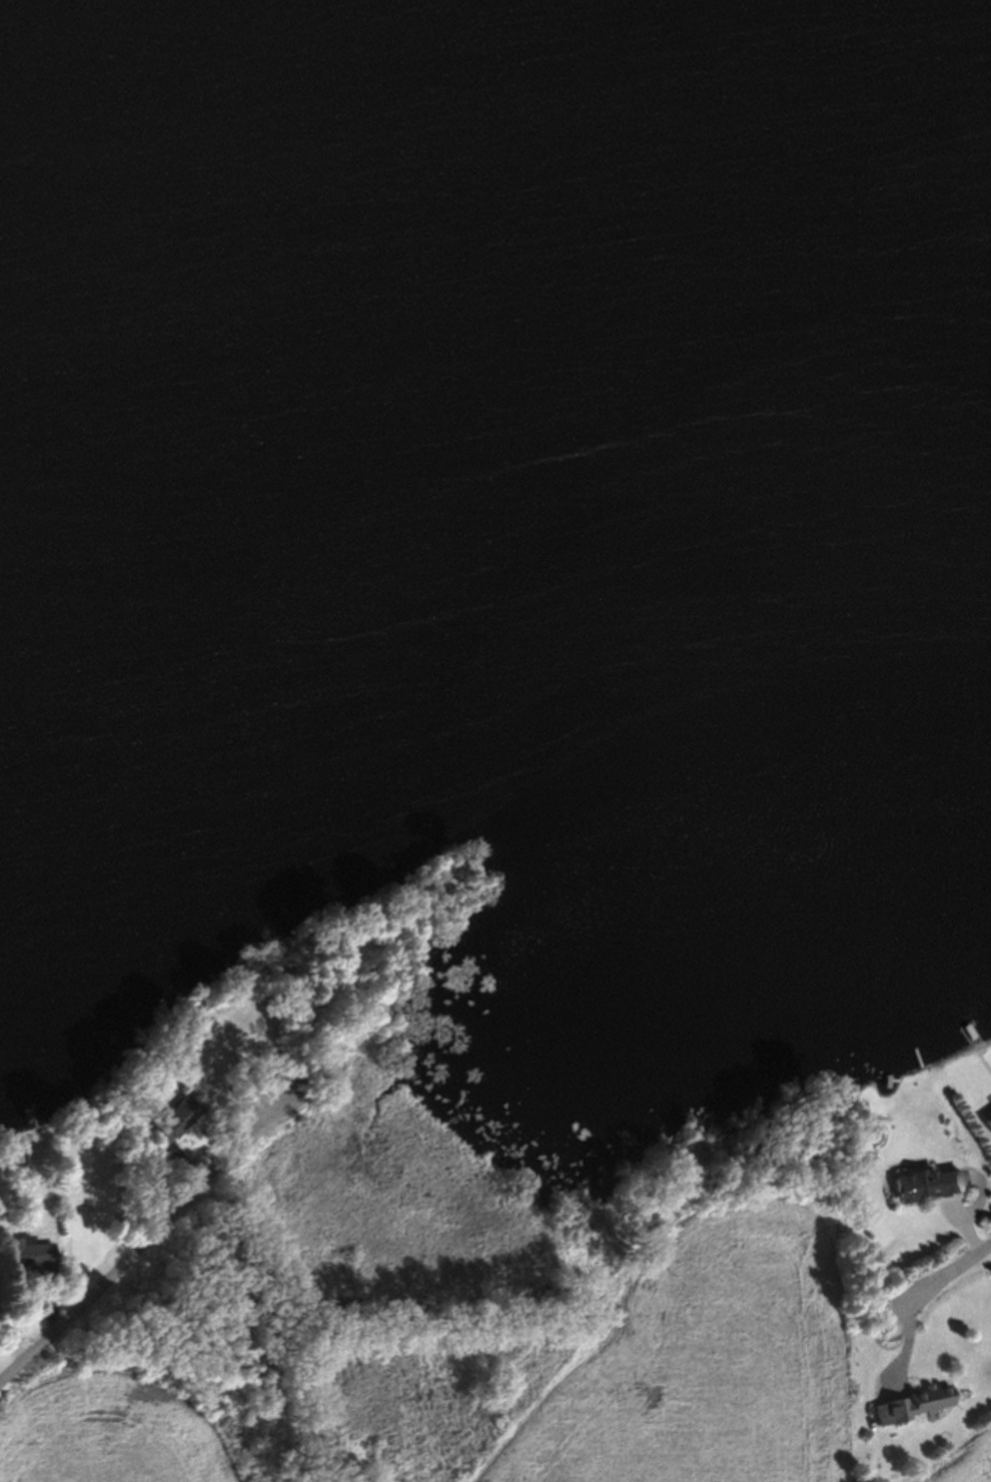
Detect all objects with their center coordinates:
building: (987, 1126)
building: (166, 1128)
building: (848, 1181)
building: (927, 1190)
road: (144, 1243)
building: (21, 1259)
road: (952, 1273)
building: (909, 1409)

